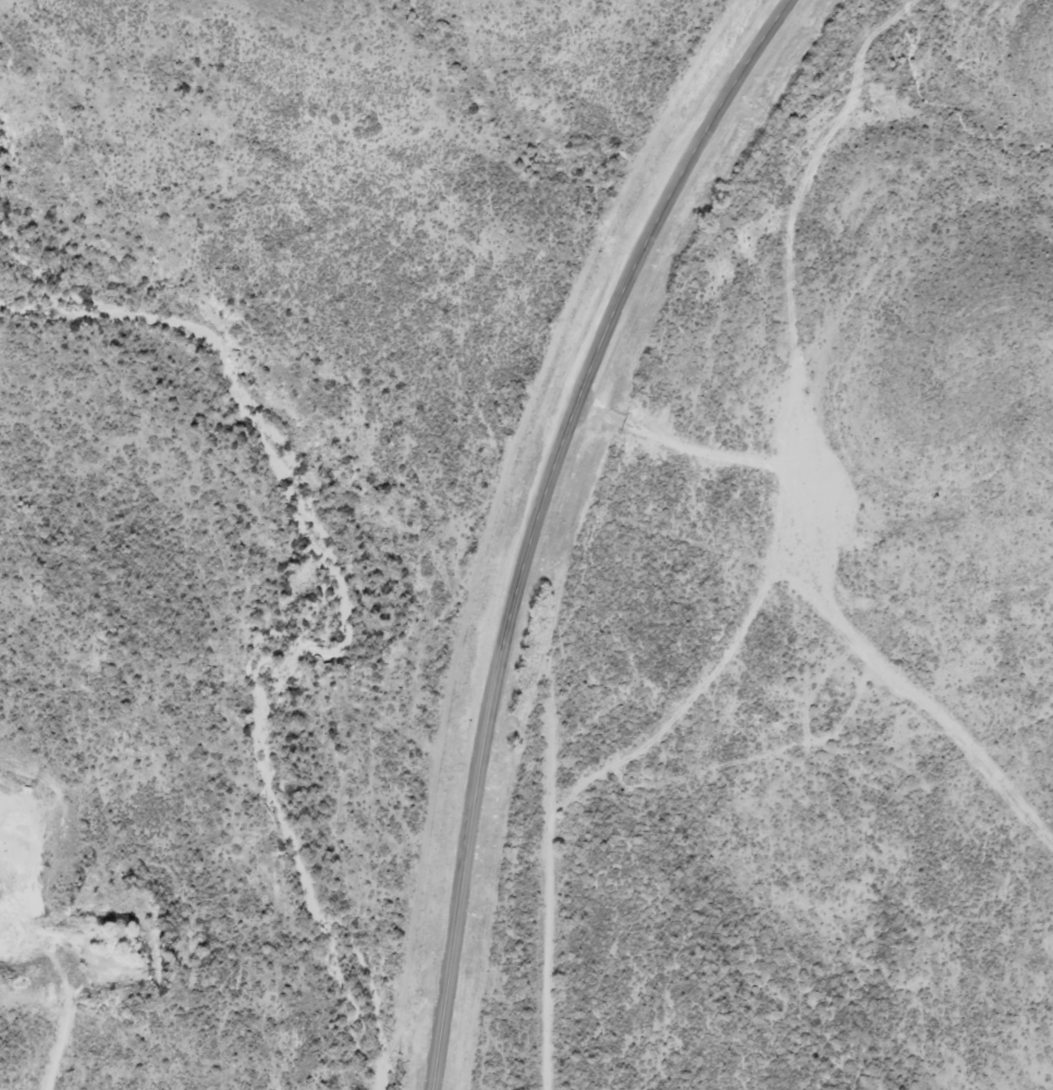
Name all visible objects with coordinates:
road: (540, 519)

